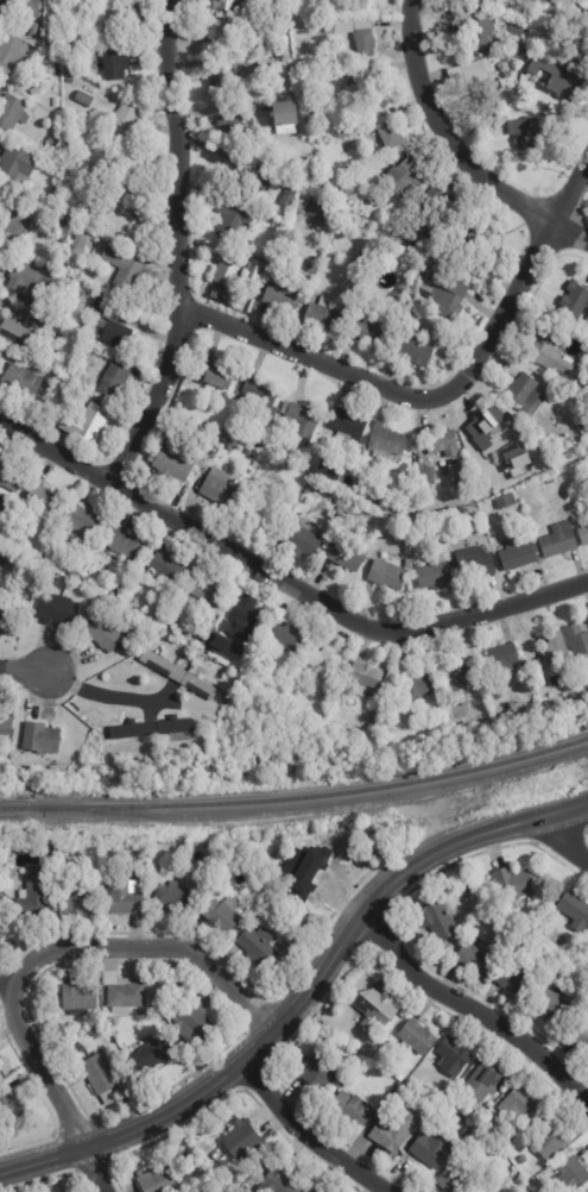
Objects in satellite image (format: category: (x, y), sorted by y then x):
building: (533, 0)
building: (6, 5)
building: (225, 5)
building: (356, 5)
building: (32, 8)
building: (321, 8)
building: (517, 8)
building: (113, 23)
building: (33, 29)
building: (581, 29)
building: (517, 30)
building: (482, 31)
building: (216, 34)
building: (365, 39)
building: (517, 43)
building: (344, 45)
building: (500, 46)
building: (58, 51)
building: (11, 55)
building: (280, 55)
building: (511, 55)
building: (67, 57)
building: (544, 61)
building: (50, 63)
building: (115, 64)
building: (277, 77)
building: (70, 80)
building: (225, 81)
building: (485, 84)
building: (363, 87)
building: (561, 88)
building: (84, 100)
building: (12, 113)
building: (286, 115)
building: (500, 123)
building: (124, 124)
building: (232, 127)
building: (344, 132)
road: (442, 134)
building: (529, 134)
building: (390, 137)
building: (53, 143)
building: (69, 146)
building: (17, 164)
building: (124, 175)
building: (407, 177)
building: (259, 178)
building: (51, 187)
building: (350, 187)
building: (138, 196)
building: (289, 197)
building: (303, 203)
building: (440, 205)
building: (321, 213)
building: (230, 219)
building: (14, 222)
building: (131, 230)
road: (569, 233)
building: (476, 239)
building: (488, 240)
building: (78, 245)
road: (176, 247)
building: (273, 249)
building: (228, 270)
building: (267, 270)
building: (124, 274)
building: (254, 276)
road: (518, 277)
building: (358, 278)
building: (31, 283)
building: (217, 295)
building: (444, 296)
building: (64, 297)
building: (283, 299)
building: (574, 303)
building: (325, 315)
building: (406, 320)
building: (112, 326)
building: (19, 330)
building: (50, 330)
building: (368, 332)
building: (412, 349)
building: (550, 356)
road: (310, 360)
building: (82, 370)
building: (512, 370)
building: (215, 376)
building: (114, 379)
building: (21, 382)
building: (546, 393)
building: (260, 394)
building: (526, 396)
building: (178, 406)
building: (86, 424)
building: (301, 424)
building: (485, 425)
building: (348, 427)
building: (387, 444)
building: (444, 444)
building: (230, 446)
building: (569, 456)
building: (309, 459)
building: (287, 460)
building: (173, 466)
building: (577, 471)
building: (328, 472)
building: (426, 478)
building: (460, 478)
building: (10, 482)
building: (261, 483)
building: (220, 490)
building: (382, 497)
building: (45, 502)
building: (505, 502)
building: (341, 503)
building: (1, 506)
building: (263, 514)
building: (464, 515)
building: (86, 521)
road: (195, 529)
building: (417, 532)
building: (583, 537)
building: (302, 539)
building: (558, 542)
building: (125, 546)
building: (518, 554)
building: (349, 557)
building: (1, 560)
building: (475, 565)
building: (169, 569)
building: (72, 576)
building: (387, 576)
building: (434, 576)
building: (207, 592)
building: (113, 597)
building: (58, 611)
building: (244, 614)
road: (489, 614)
building: (10, 615)
building: (1, 616)
building: (103, 634)
building: (285, 636)
building: (577, 642)
building: (554, 651)
building: (164, 653)
building: (226, 659)
building: (504, 660)
building: (323, 664)
road: (21, 671)
building: (178, 676)
building: (368, 678)
building: (457, 683)
building: (425, 684)
building: (328, 694)
road: (105, 695)
building: (6, 717)
building: (152, 729)
building: (42, 738)
building: (131, 742)
railway: (297, 797)
road: (562, 805)
railway: (317, 808)
road: (561, 840)
road: (438, 848)
building: (308, 873)
building: (514, 882)
building: (33, 895)
building: (470, 895)
building: (126, 897)
building: (173, 897)
building: (1, 901)
building: (80, 902)
building: (575, 909)
building: (222, 915)
building: (438, 918)
building: (475, 926)
building: (540, 933)
building: (587, 942)
building: (258, 947)
building: (513, 947)
building: (533, 947)
road: (145, 948)
building: (478, 956)
building: (557, 965)
building: (517, 981)
road: (2, 989)
building: (124, 993)
building: (78, 999)
building: (159, 999)
building: (554, 1004)
building: (374, 1006)
road: (473, 1012)
building: (195, 1020)
building: (323, 1024)
building: (580, 1034)
building: (416, 1036)
building: (158, 1053)
building: (451, 1055)
building: (354, 1058)
building: (361, 1065)
building: (1, 1068)
road: (43, 1069)
building: (321, 1069)
building: (0, 1071)
building: (400, 1075)
building: (101, 1077)
building: (483, 1079)
road: (209, 1084)
building: (441, 1098)
building: (523, 1100)
building: (451, 1104)
building: (353, 1108)
building: (10, 1109)
building: (398, 1124)
road: (310, 1134)
building: (549, 1137)
building: (242, 1138)
building: (431, 1148)
building: (219, 1154)
building: (523, 1159)
road: (93, 1169)
building: (571, 1174)
building: (158, 1179)
building: (279, 1179)
building: (456, 1180)
building: (320, 1188)

